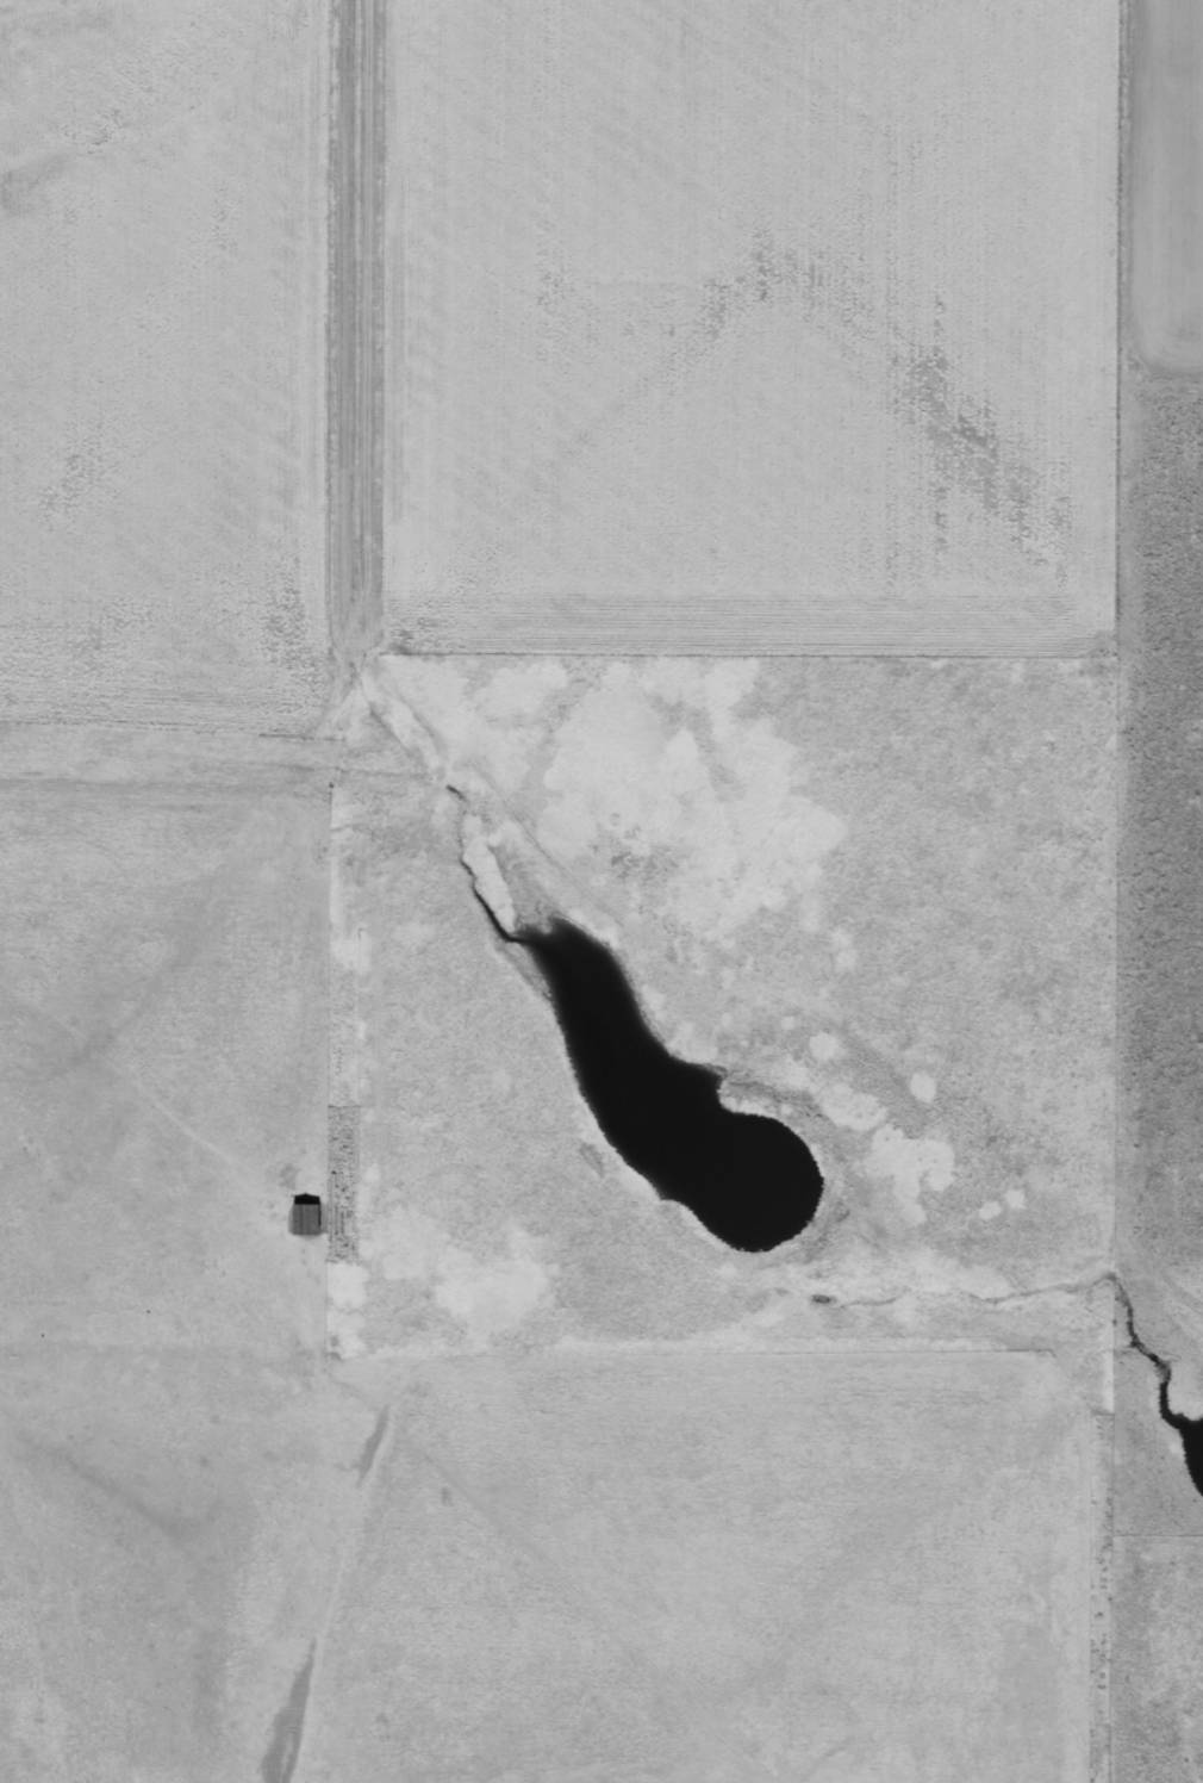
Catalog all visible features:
building: (310, 1220)

